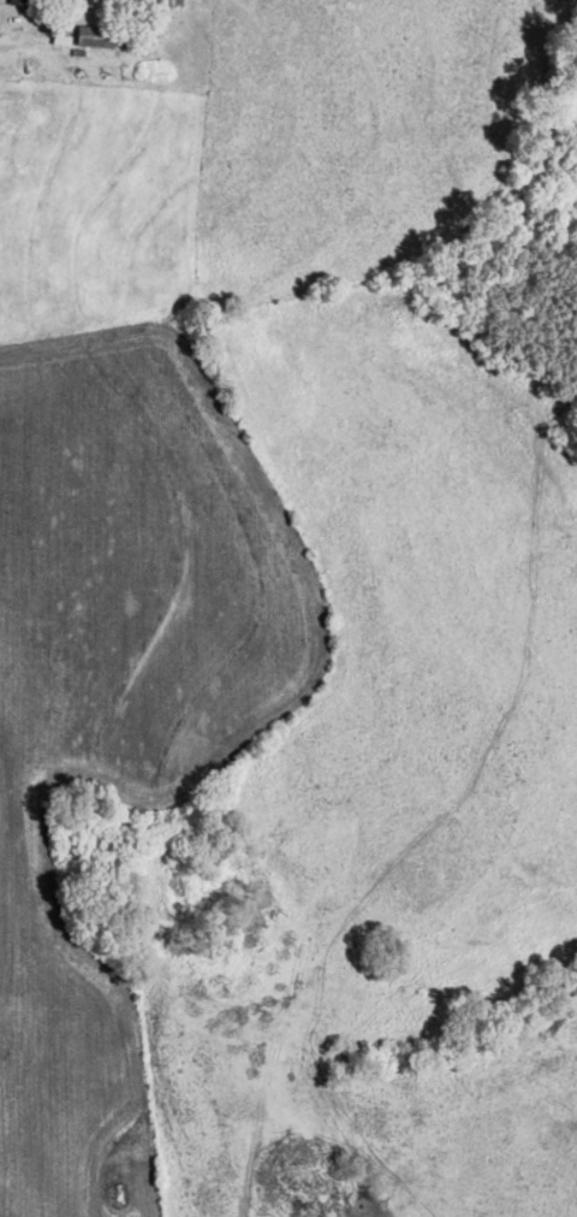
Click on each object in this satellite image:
building: (12, 1)
building: (167, 4)
building: (126, 6)
building: (91, 36)

